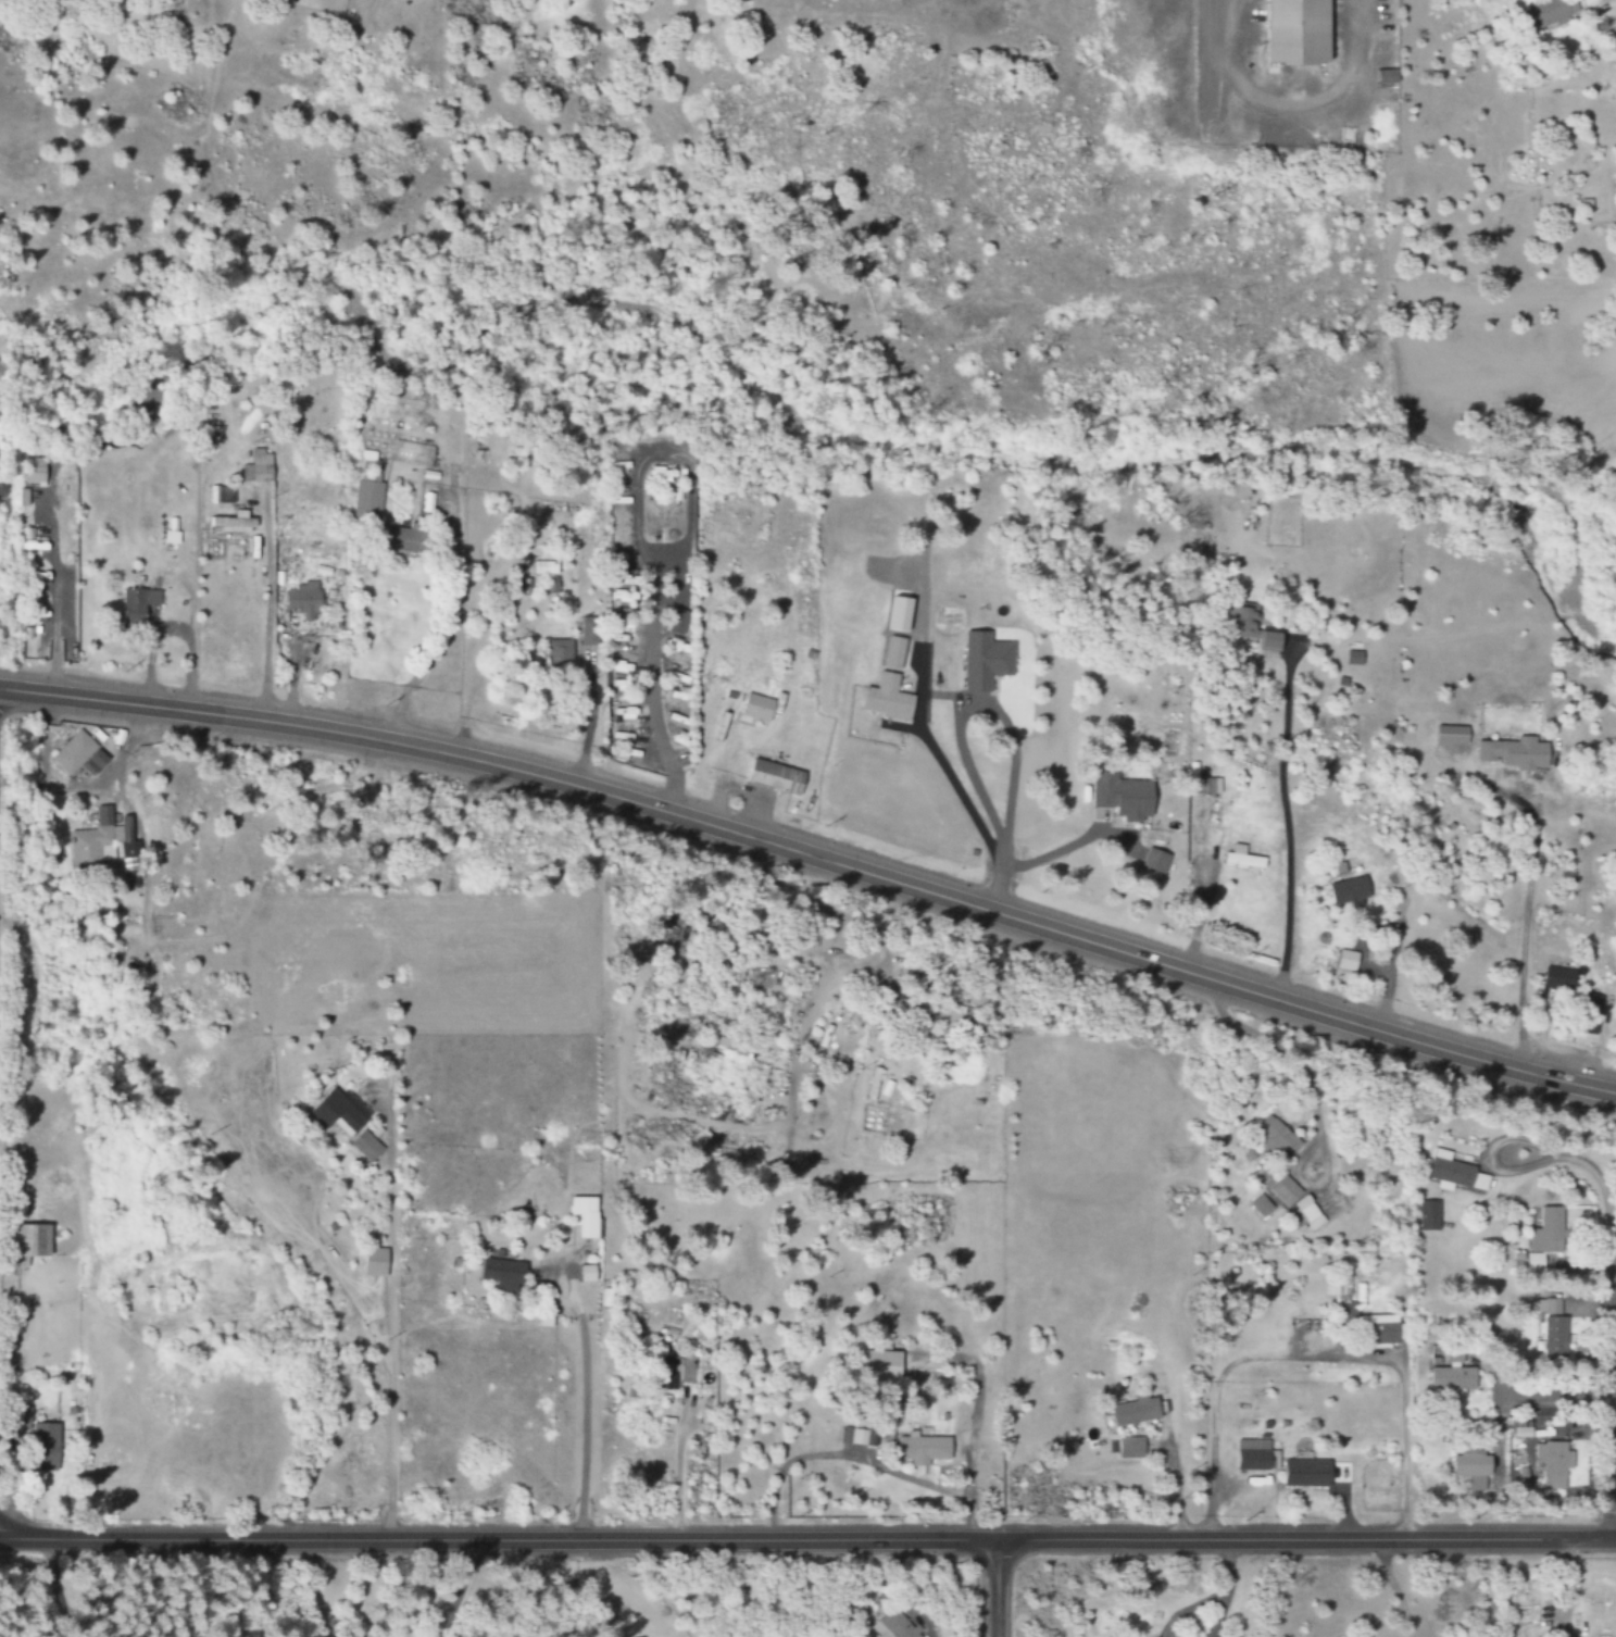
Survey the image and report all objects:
building: (1551, 13)
building: (1299, 33)
building: (1388, 77)
building: (413, 453)
building: (258, 468)
building: (35, 472)
building: (221, 495)
building: (369, 495)
building: (234, 524)
building: (399, 540)
building: (546, 567)
building: (304, 600)
building: (138, 604)
building: (901, 615)
building: (1245, 622)
building: (677, 623)
building: (589, 632)
building: (1270, 641)
building: (560, 652)
building: (1355, 659)
building: (986, 662)
building: (890, 688)
building: (757, 709)
building: (1452, 736)
building: (74, 752)
building: (1516, 754)
building: (776, 777)
building: (1208, 787)
building: (1123, 797)
building: (104, 849)
building: (1243, 858)
road: (815, 859)
building: (1156, 861)
building: (1350, 891)
building: (1348, 961)
building: (1558, 977)
building: (345, 992)
building: (1591, 1014)
building: (337, 1113)
building: (1278, 1136)
building: (366, 1147)
building: (1455, 1173)
building: (1285, 1191)
building: (1306, 1214)
building: (1429, 1215)
building: (585, 1216)
building: (1549, 1232)
building: (32, 1242)
building: (502, 1275)
building: (1338, 1287)
building: (1552, 1328)
building: (1380, 1330)
building: (881, 1366)
building: (1451, 1371)
building: (676, 1372)
road: (1607, 1400)
building: (1136, 1411)
building: (24, 1419)
road: (1567, 1430)
building: (46, 1448)
building: (1131, 1448)
building: (924, 1449)
building: (1256, 1455)
building: (1470, 1463)
building: (1553, 1463)
building: (1307, 1473)
road: (807, 1541)
road: (454, 1589)
road: (994, 1589)
building: (894, 1626)

